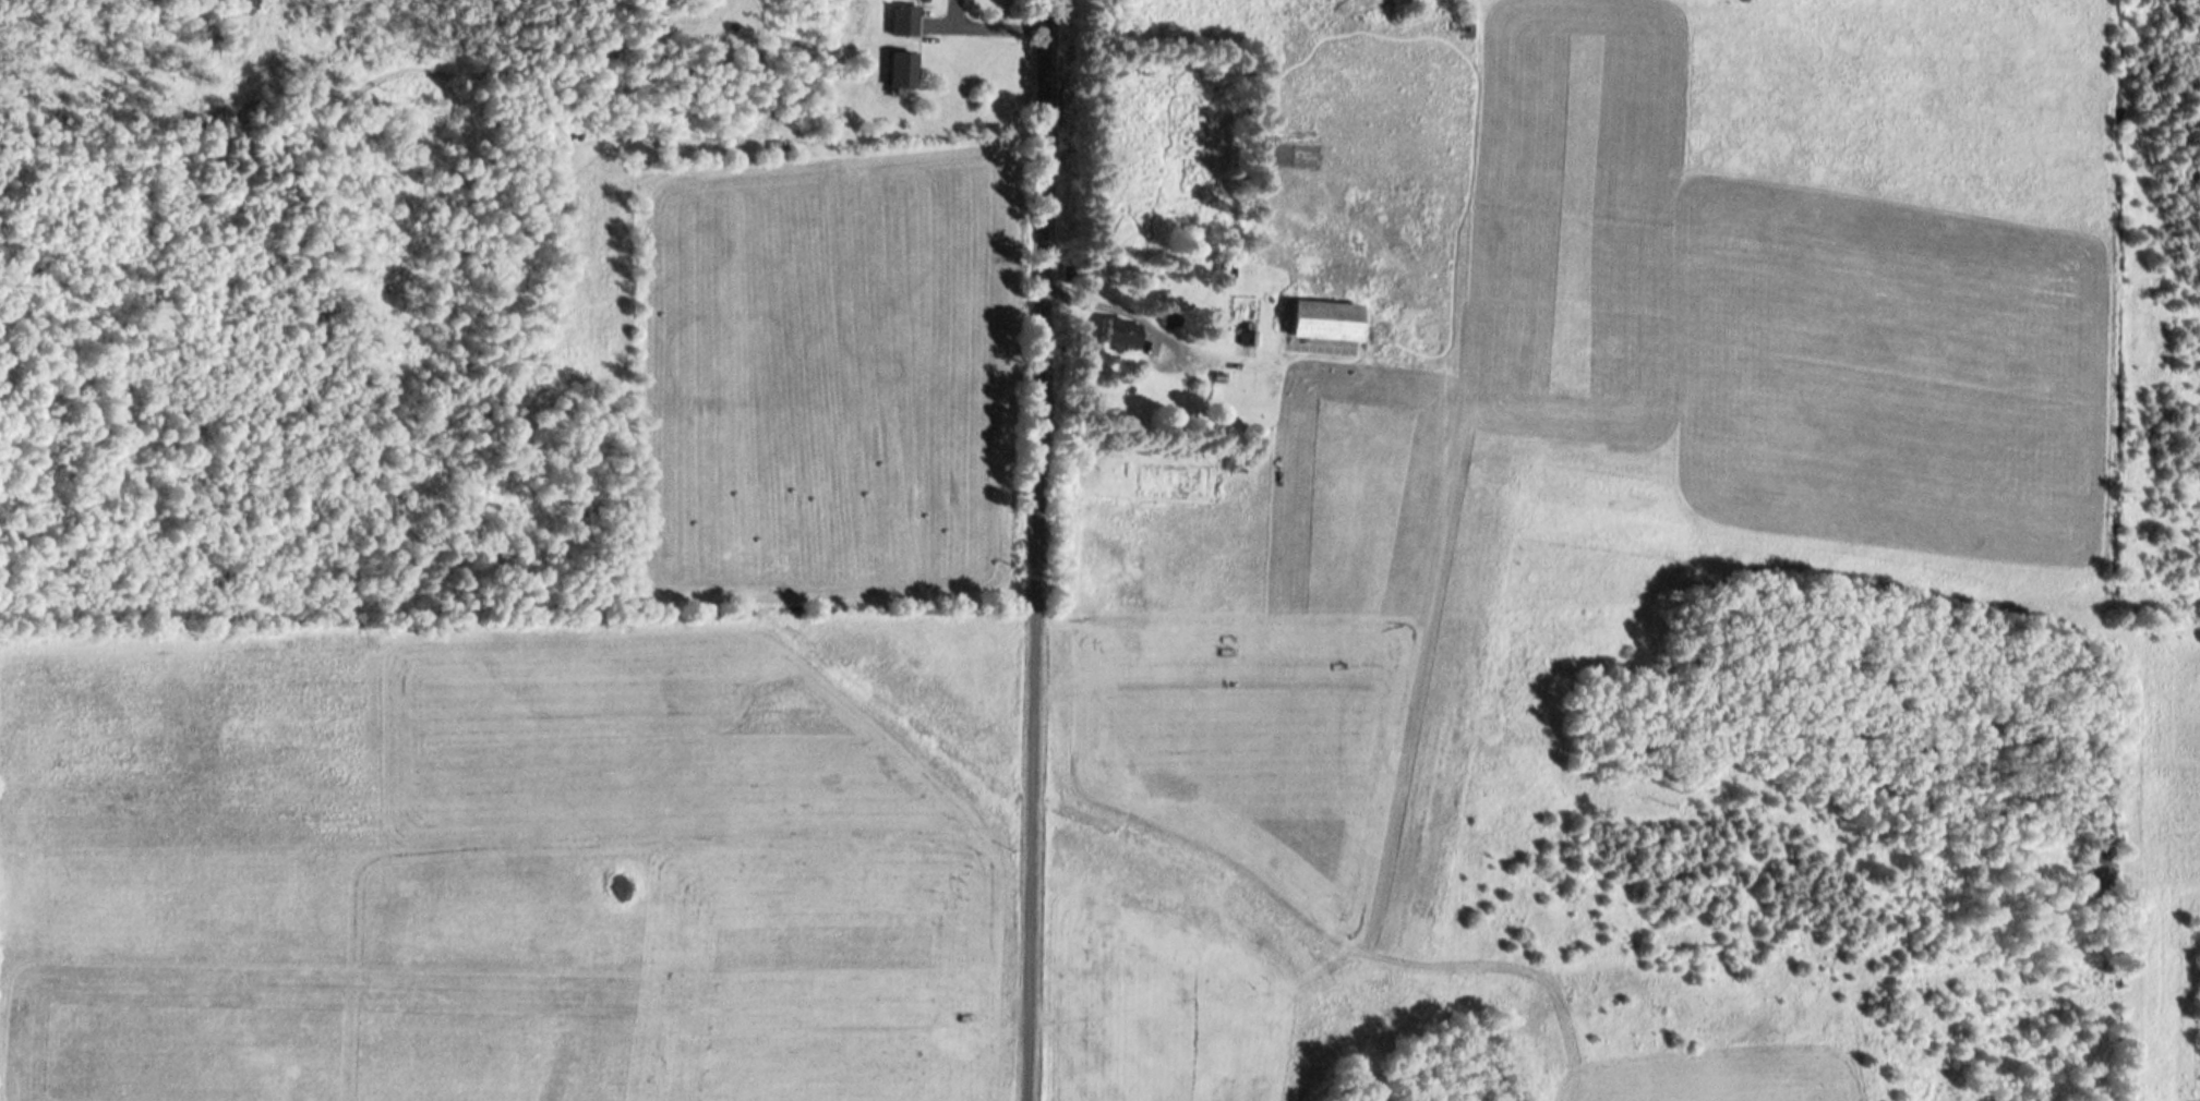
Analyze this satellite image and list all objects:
building: (905, 21)
building: (902, 71)
building: (1322, 322)
building: (1117, 335)
building: (1249, 340)
road: (1054, 550)

